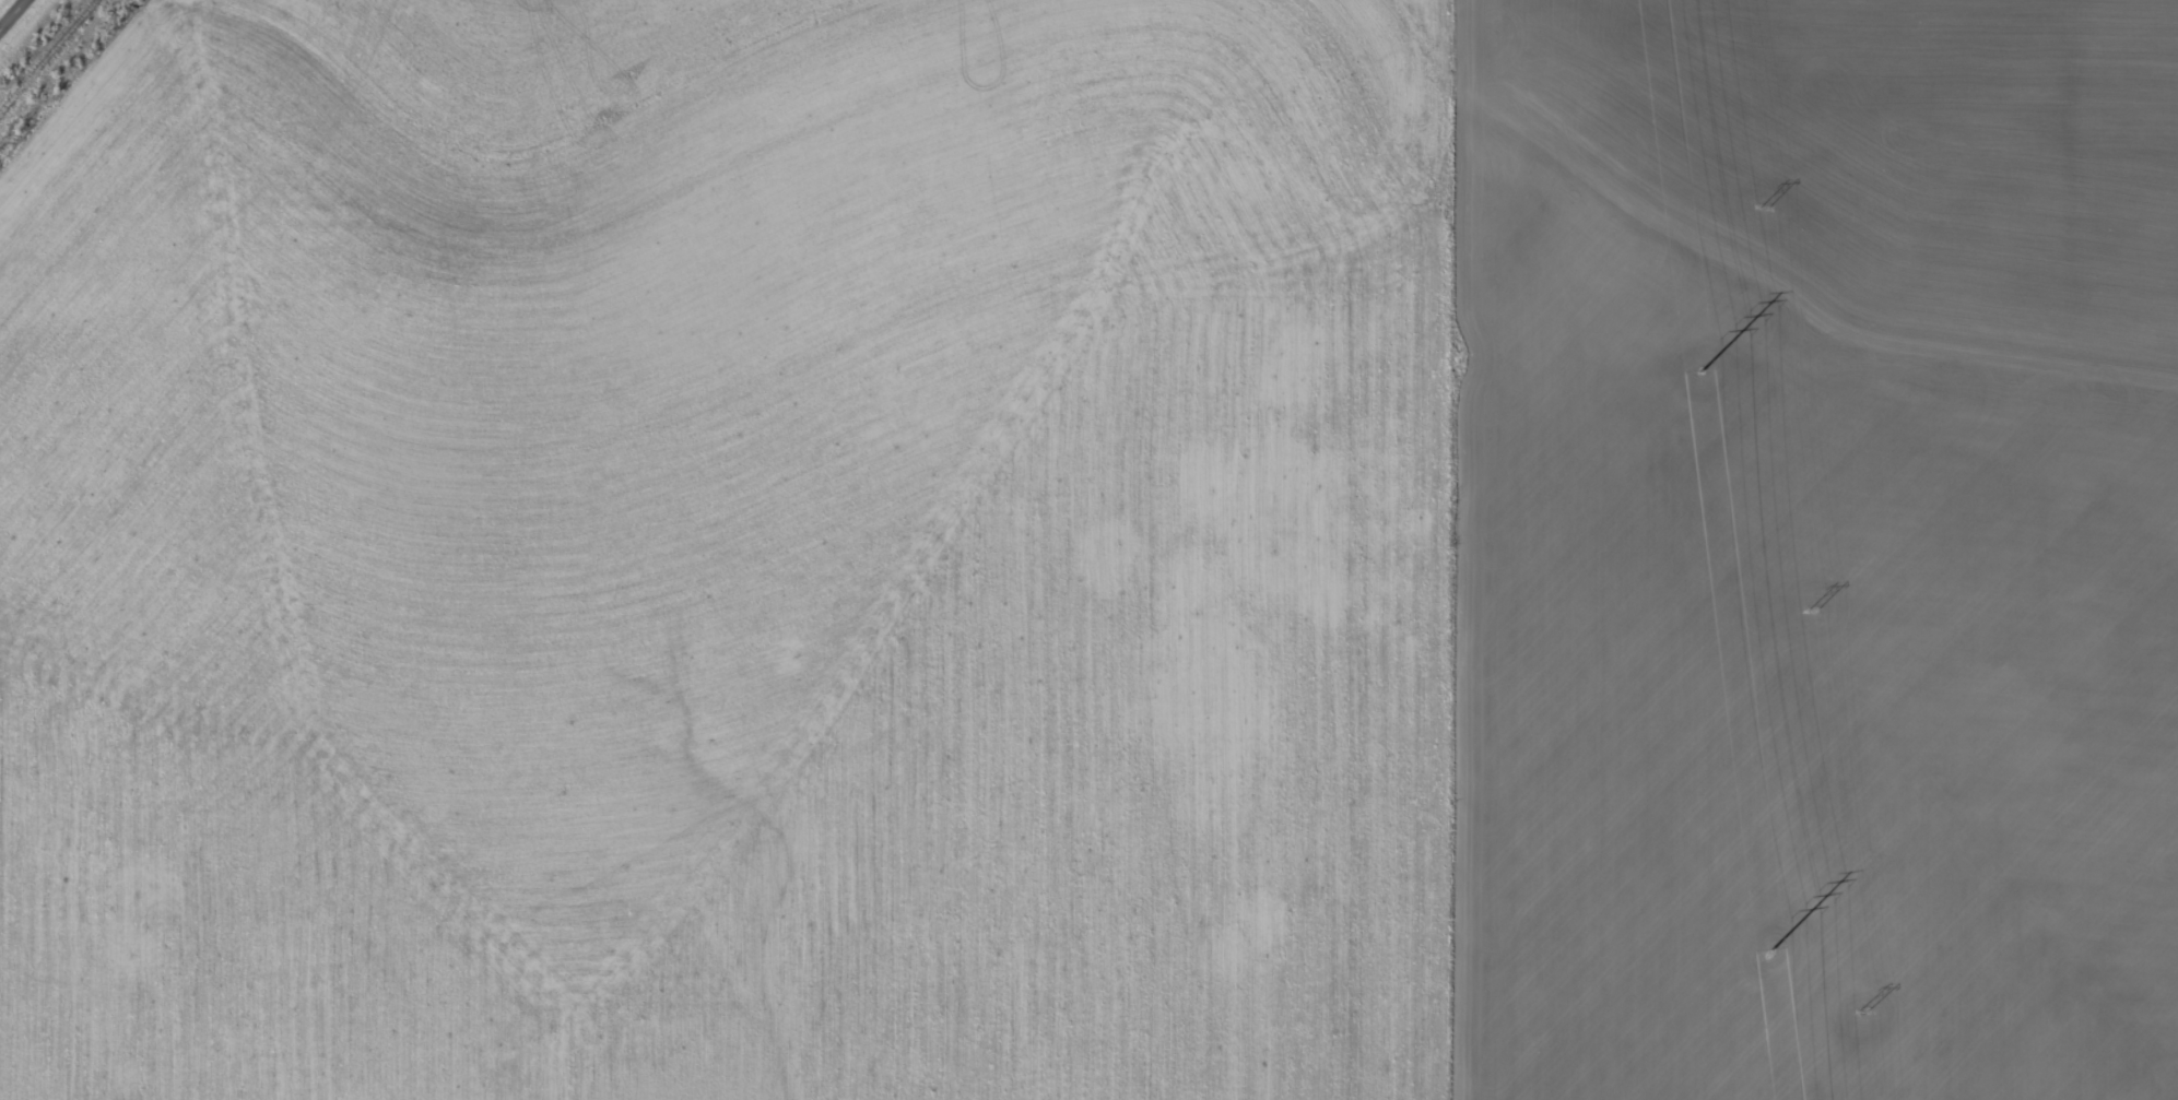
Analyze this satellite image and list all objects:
road: (20, 23)
railway: (47, 54)
power tower: (1764, 206)
power tower: (1702, 370)
power tower: (1813, 607)
power tower: (1773, 948)
power tower: (1863, 1009)

